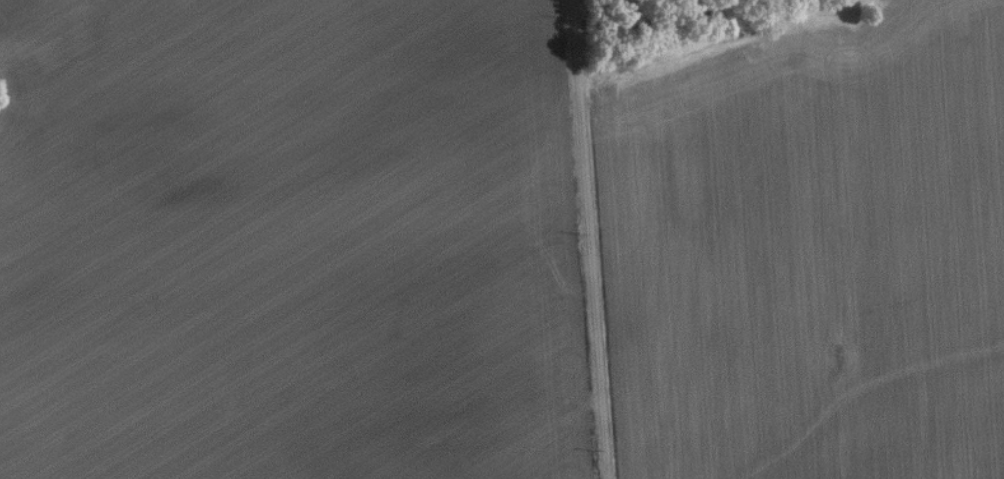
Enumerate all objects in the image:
road: (593, 239)

